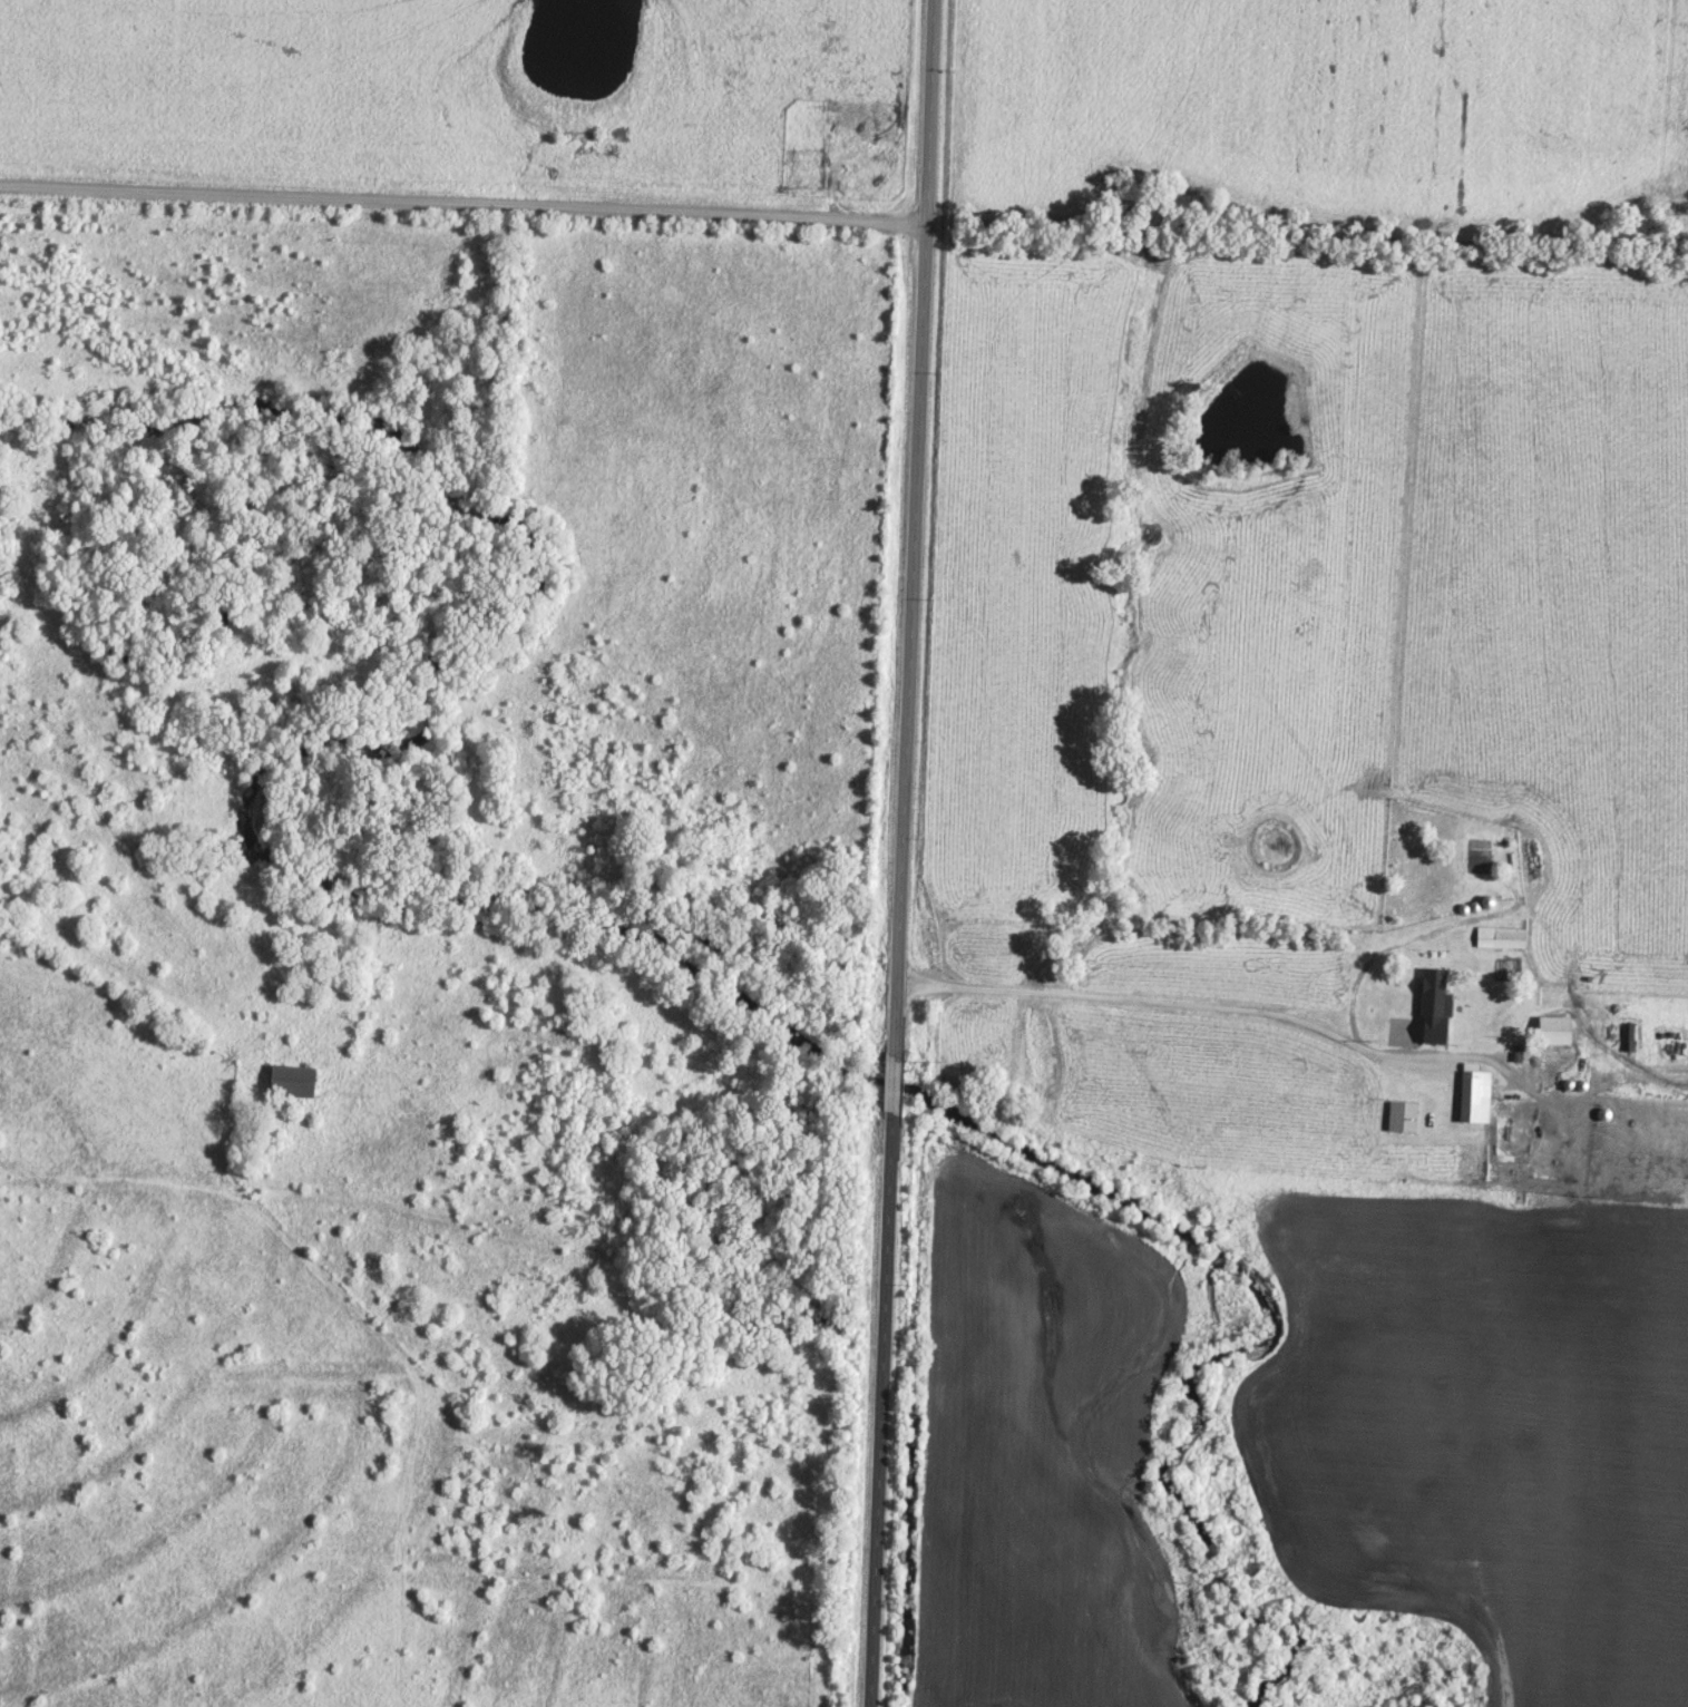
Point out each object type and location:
road: (462, 201)
road: (900, 852)
building: (1500, 935)
road: (1183, 1001)
building: (1437, 1006)
building: (1545, 1035)
building: (289, 1079)
building: (1473, 1093)
building: (1401, 1113)
building: (1614, 1159)
river: (1204, 1344)
road: (421, 1392)
river: (1438, 1693)

